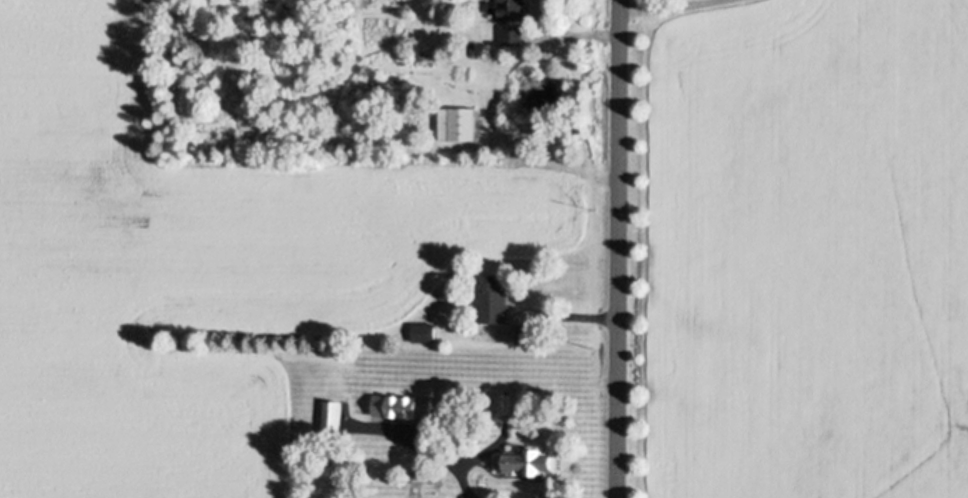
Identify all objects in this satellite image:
building: (510, 6)
road: (667, 6)
building: (514, 30)
building: (425, 53)
building: (426, 87)
building: (458, 118)
road: (615, 249)
crop: (799, 253)
building: (493, 293)
building: (425, 327)
building: (529, 329)
building: (446, 398)
building: (506, 398)
building: (403, 400)
building: (527, 455)
road: (449, 462)
building: (425, 473)

